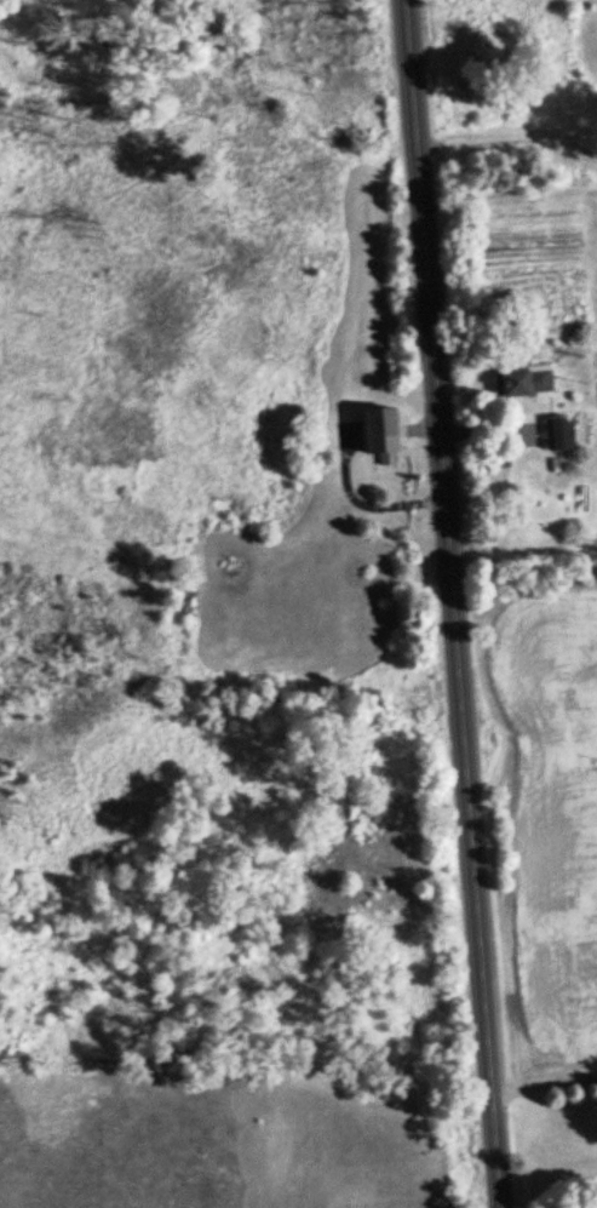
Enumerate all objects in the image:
building: (524, 379)
building: (378, 428)
building: (559, 430)
road: (455, 603)
crop: (549, 796)
road: (544, 1075)

